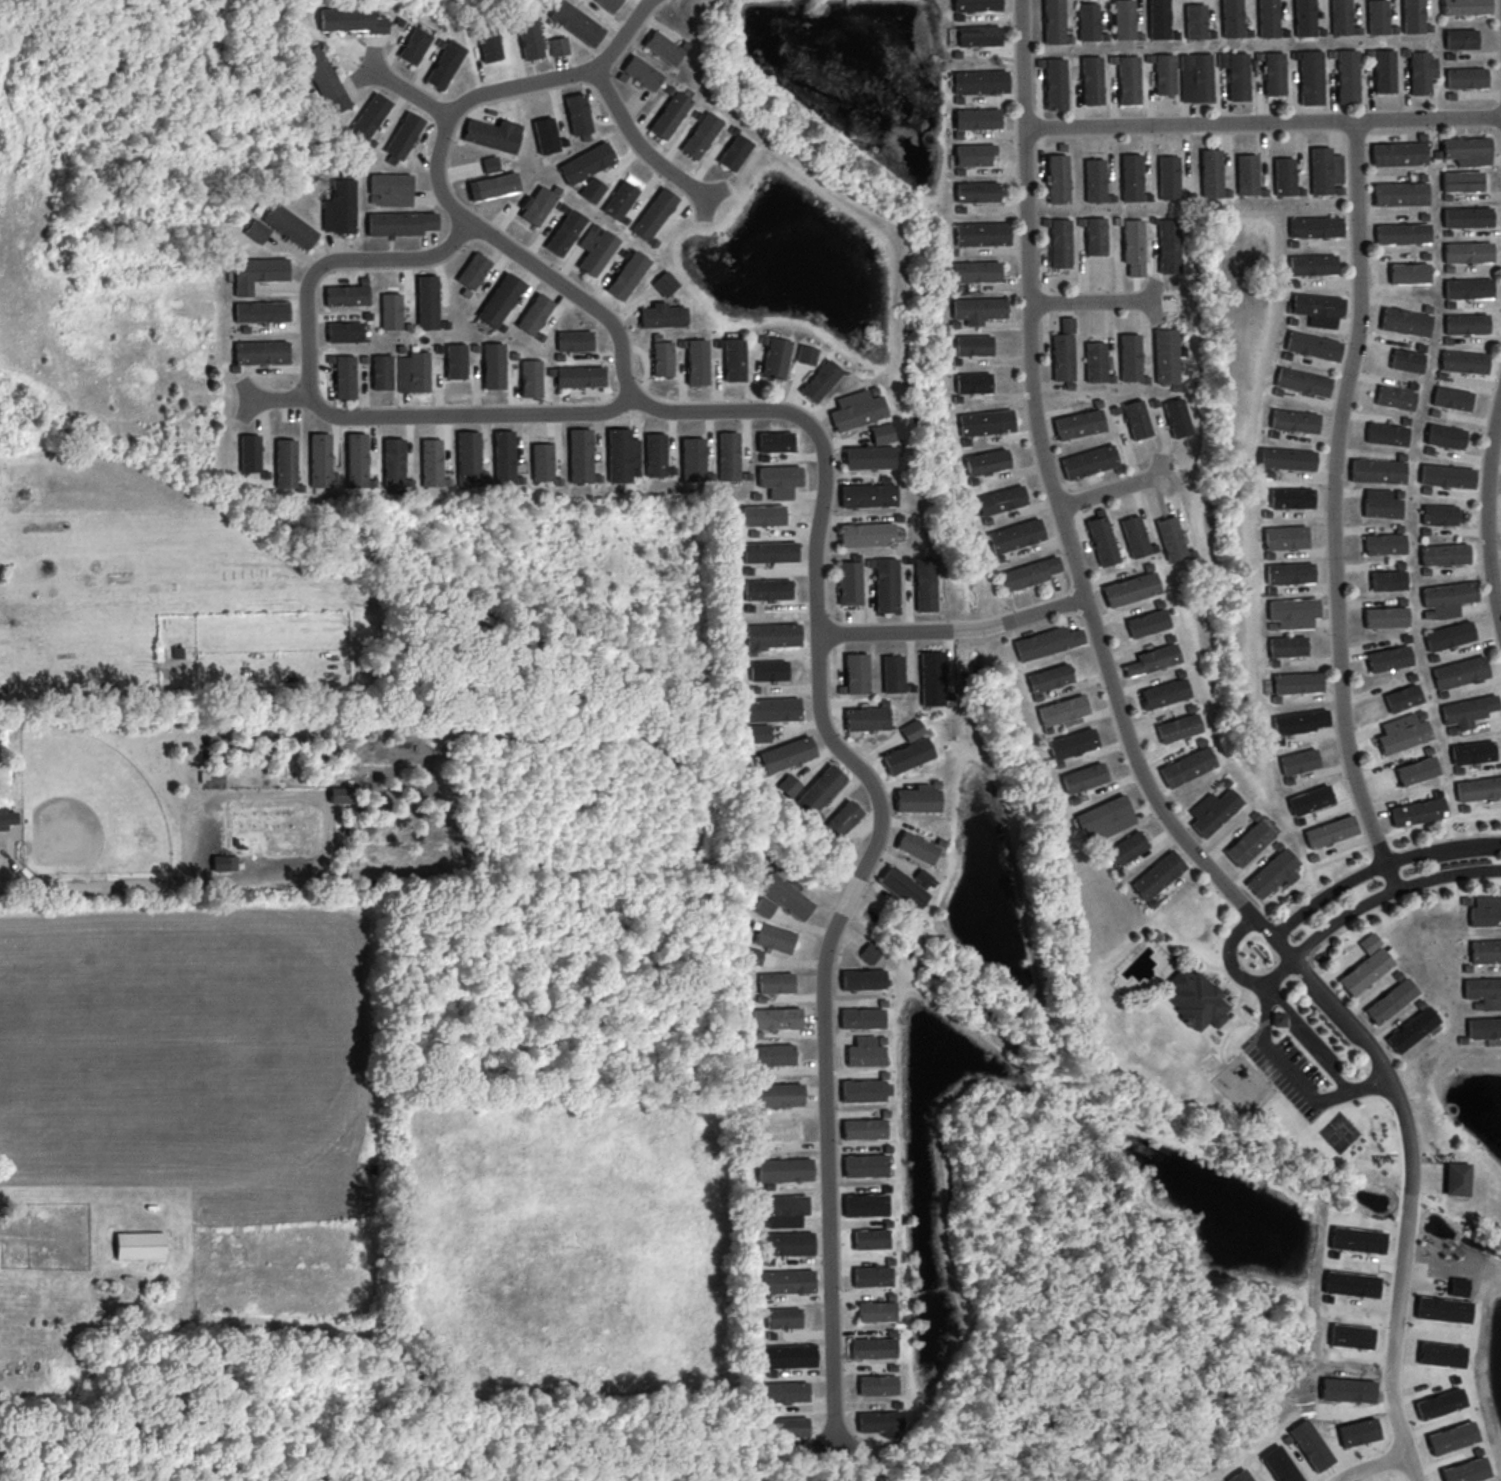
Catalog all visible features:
building: (608, 4)
building: (977, 5)
building: (1465, 7)
building: (1377, 16)
building: (1413, 16)
building: (1304, 17)
building: (1341, 17)
building: (1231, 18)
building: (1268, 18)
building: (1123, 19)
building: (1158, 19)
building: (351, 20)
building: (1054, 21)
building: (1088, 21)
building: (1195, 21)
building: (576, 23)
building: (979, 35)
building: (529, 37)
building: (1460, 38)
building: (488, 44)
building: (414, 45)
building: (558, 46)
building: (663, 47)
building: (445, 64)
building: (1384, 71)
building: (1421, 71)
building: (642, 72)
building: (1274, 73)
building: (1235, 74)
road: (560, 76)
building: (1347, 76)
building: (1195, 77)
building: (1310, 77)
building: (1466, 77)
building: (323, 79)
building: (1128, 79)
building: (1091, 80)
building: (980, 81)
building: (1055, 83)
road: (405, 90)
building: (578, 113)
building: (669, 114)
building: (369, 117)
building: (977, 118)
road: (1261, 121)
building: (493, 134)
building: (545, 135)
building: (701, 135)
building: (402, 137)
road: (640, 144)
building: (1467, 150)
building: (734, 152)
building: (1399, 153)
building: (974, 154)
building: (586, 162)
building: (490, 164)
building: (1324, 170)
building: (1211, 173)
building: (1246, 174)
building: (1283, 176)
building: (1131, 177)
building: (1168, 177)
building: (1057, 178)
building: (1094, 180)
building: (1461, 181)
building: (493, 186)
building: (390, 189)
building: (592, 189)
building: (977, 191)
building: (1399, 193)
building: (620, 200)
building: (537, 205)
building: (339, 207)
building: (654, 214)
building: (1467, 217)
building: (400, 223)
building: (289, 226)
building: (1315, 227)
building: (256, 231)
building: (565, 232)
building: (982, 233)
building: (1402, 233)
building: (1095, 236)
building: (1059, 242)
building: (1133, 246)
building: (1168, 246)
building: (596, 249)
building: (1467, 252)
building: (1312, 264)
building: (473, 270)
building: (975, 271)
building: (257, 272)
building: (1408, 273)
building: (627, 275)
building: (665, 283)
building: (1468, 288)
building: (500, 299)
road: (1091, 300)
building: (427, 301)
building: (977, 309)
building: (1318, 309)
building: (261, 311)
building: (391, 311)
building: (534, 314)
building: (663, 316)
building: (1405, 322)
building: (1466, 323)
building: (344, 332)
building: (574, 340)
building: (972, 345)
building: (1312, 345)
building: (1063, 351)
building: (260, 352)
building: (806, 354)
building: (1165, 355)
building: (775, 357)
building: (1129, 357)
building: (662, 358)
building: (734, 359)
building: (1406, 360)
building: (455, 361)
building: (1096, 361)
building: (697, 362)
building: (1463, 362)
building: (493, 365)
building: (382, 372)
building: (413, 372)
building: (343, 375)
building: (580, 376)
building: (531, 378)
building: (820, 380)
building: (1302, 381)
building: (972, 382)
building: (1395, 397)
road: (277, 398)
building: (1451, 398)
building: (858, 408)
road: (323, 410)
building: (1176, 417)
building: (1136, 419)
building: (1294, 420)
building: (985, 422)
building: (1078, 424)
building: (882, 433)
building: (1386, 434)
building: (1445, 436)
building: (775, 442)
building: (249, 453)
building: (622, 454)
building: (655, 454)
building: (580, 455)
building: (729, 456)
building: (504, 457)
building: (869, 457)
building: (468, 458)
building: (1286, 458)
building: (320, 459)
building: (693, 459)
building: (356, 460)
building: (542, 461)
building: (986, 461)
building: (1088, 461)
building: (393, 462)
building: (431, 462)
building: (285, 463)
building: (1377, 471)
building: (1446, 475)
building: (779, 480)
road: (1111, 490)
road: (1333, 494)
building: (868, 495)
building: (1291, 497)
building: (1000, 500)
building: (1380, 504)
road: (1487, 509)
building: (1439, 514)
building: (762, 515)
building: (866, 534)
building: (1015, 535)
building: (1133, 536)
building: (1285, 537)
building: (1170, 538)
building: (1101, 539)
building: (1383, 544)
building: (769, 552)
building: (1444, 554)
building: (1028, 573)
building: (1289, 573)
building: (1387, 580)
building: (849, 582)
building: (924, 584)
building: (886, 585)
building: (767, 589)
building: (1130, 589)
building: (1446, 599)
building: (1292, 612)
building: (1385, 617)
building: (1146, 623)
road: (953, 627)
building: (1448, 635)
building: (772, 636)
building: (1046, 642)
building: (1286, 646)
road: (1103, 655)
building: (1388, 658)
building: (1152, 659)
building: (768, 670)
road: (818, 670)
building: (1459, 672)
building: (892, 673)
building: (1048, 677)
building: (931, 678)
building: (1296, 682)
building: (1164, 693)
building: (1402, 698)
building: (770, 709)
building: (1061, 710)
building: (1467, 711)
building: (866, 719)
building: (1300, 721)
building: (1177, 727)
building: (911, 729)
building: (1402, 732)
building: (758, 733)
building: (1071, 743)
building: (1472, 752)
building: (786, 754)
building: (907, 755)
building: (1298, 761)
building: (1186, 766)
building: (1416, 770)
building: (1082, 777)
building: (788, 785)
building: (1478, 788)
building: (819, 790)
building: (340, 794)
building: (918, 798)
building: (1310, 800)
building: (1212, 811)
building: (1417, 811)
building: (7, 818)
building: (1104, 818)
building: (842, 819)
building: (1330, 831)
building: (1250, 841)
building: (916, 847)
building: (1125, 848)
building: (224, 862)
road: (1378, 867)
building: (1273, 873)
building: (1157, 875)
building: (921, 878)
road: (1389, 878)
building: (902, 887)
road: (1387, 893)
building: (785, 896)
building: (763, 906)
building: (1485, 911)
building: (774, 938)
building: (1485, 951)
building: (868, 953)
building: (753, 956)
building: (1366, 966)
road: (1234, 972)
building: (862, 979)
building: (775, 982)
building: (1483, 992)
building: (1194, 998)
building: (1390, 1000)
building: (776, 1018)
building: (862, 1018)
building: (1278, 1019)
building: (1412, 1029)
building: (1485, 1029)
road: (1318, 1051)
building: (865, 1052)
building: (773, 1054)
road: (1277, 1064)
building: (864, 1090)
building: (778, 1094)
building: (863, 1128)
building: (865, 1165)
building: (784, 1170)
building: (1456, 1178)
building: (865, 1205)
building: (782, 1210)
building: (870, 1239)
building: (1356, 1239)
building: (786, 1243)
building: (140, 1245)
building: (872, 1276)
building: (787, 1281)
building: (1350, 1284)
building: (1458, 1286)
building: (1443, 1309)
building: (876, 1311)
building: (783, 1318)
building: (1350, 1336)
road: (1392, 1337)
building: (873, 1348)
building: (1441, 1354)
building: (788, 1356)
building: (878, 1385)
building: (1347, 1389)
building: (785, 1392)
building: (1439, 1403)
building: (880, 1422)
building: (789, 1426)
building: (1358, 1432)
building: (1452, 1437)
building: (1310, 1445)
building: (1280, 1465)
road: (1373, 1466)
road: (1411, 1467)
building: (1466, 1470)
building: (1240, 1476)

